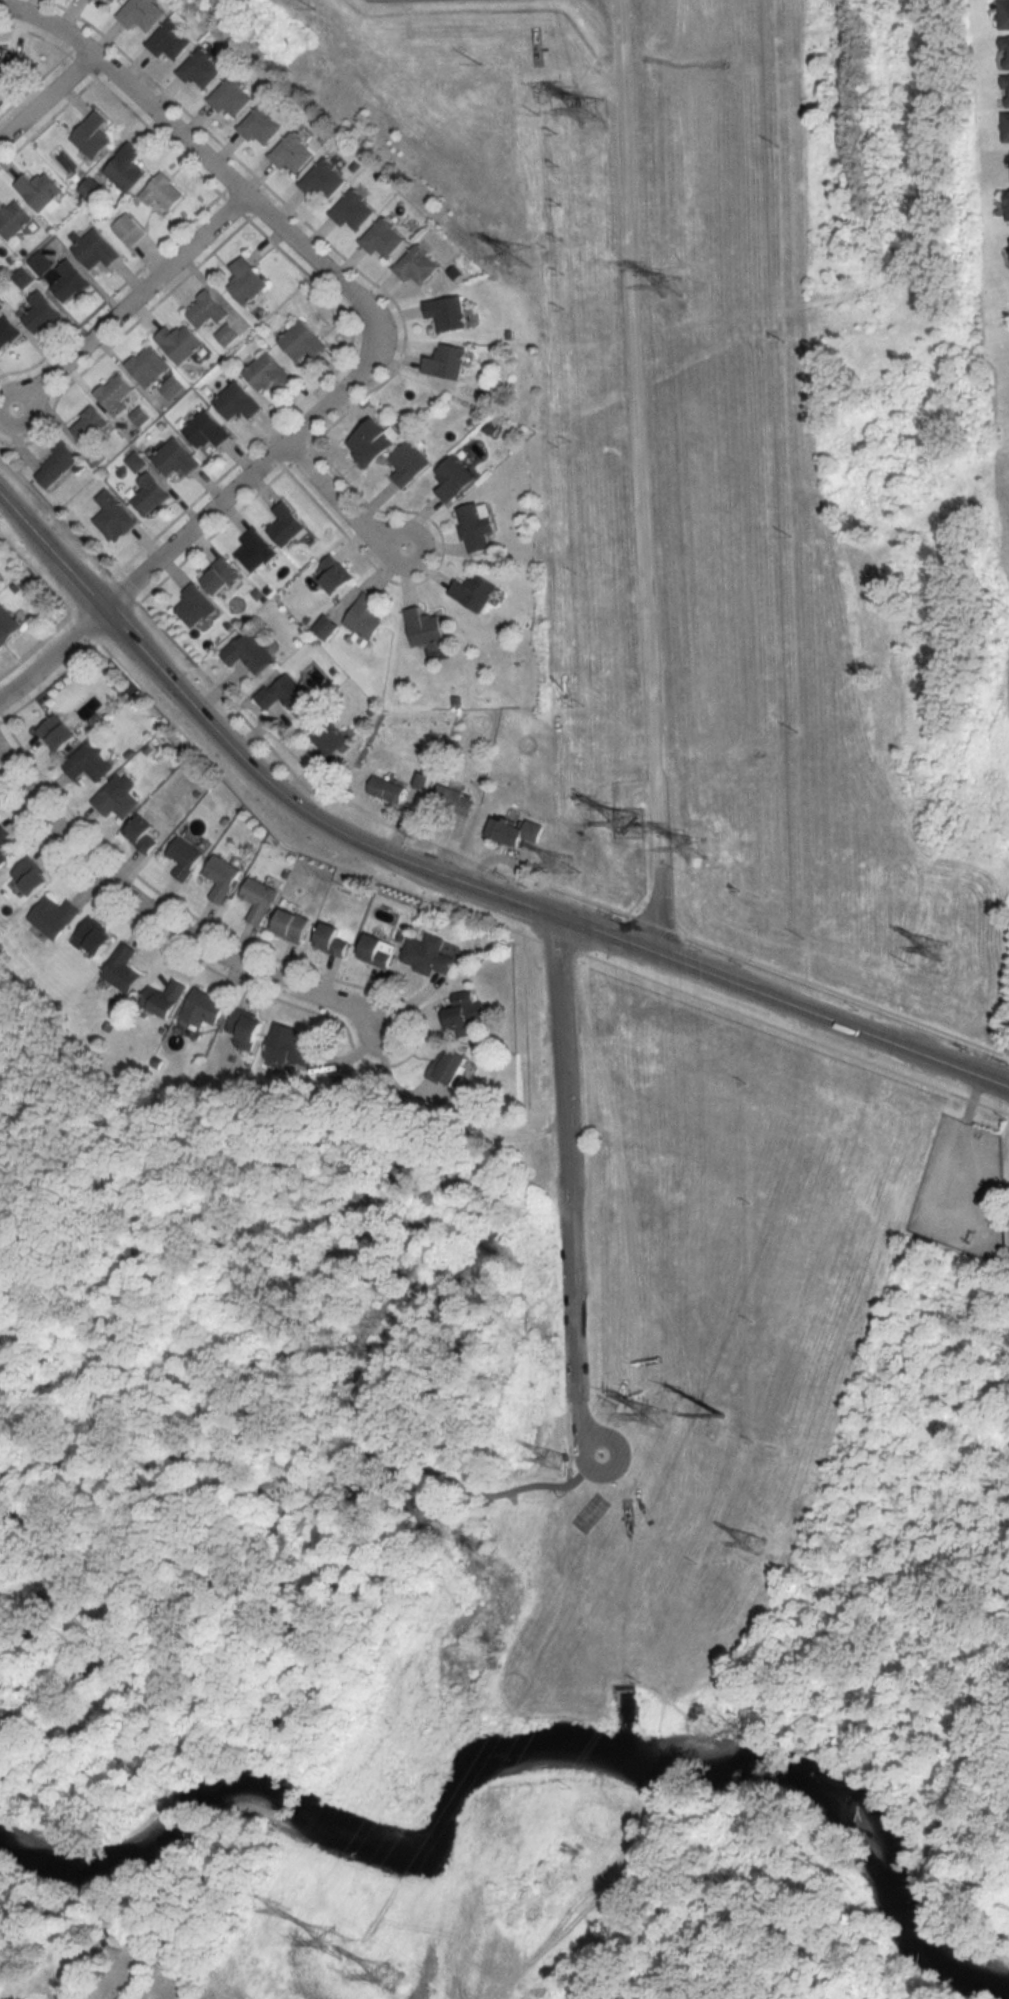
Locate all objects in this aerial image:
building: (111, 0)
road: (618, 1)
road: (619, 1)
building: (140, 13)
building: (1004, 14)
building: (169, 38)
building: (1005, 52)
building: (8, 60)
power tower: (479, 62)
building: (200, 69)
building: (1006, 90)
building: (230, 97)
road: (45, 98)
power tower: (597, 109)
building: (260, 125)
building: (1006, 127)
building: (92, 135)
building: (291, 152)
road: (199, 156)
building: (126, 167)
building: (323, 180)
building: (91, 189)
building: (39, 190)
building: (162, 192)
building: (1007, 205)
building: (351, 210)
building: (13, 219)
building: (128, 229)
building: (382, 238)
building: (96, 249)
power tower: (521, 258)
building: (417, 265)
building: (69, 281)
building: (248, 284)
power tower: (672, 285)
road: (129, 302)
building: (206, 309)
building: (41, 312)
building: (446, 312)
building: (7, 331)
building: (302, 340)
building: (180, 342)
building: (446, 361)
building: (148, 365)
building: (267, 373)
building: (115, 393)
building: (237, 401)
building: (89, 424)
building: (206, 430)
building: (372, 442)
building: (176, 458)
building: (409, 463)
building: (56, 465)
road: (640, 476)
building: (454, 478)
road: (244, 481)
building: (150, 493)
road: (339, 505)
building: (114, 516)
building: (287, 525)
building: (476, 526)
building: (255, 550)
building: (336, 574)
building: (221, 576)
building: (475, 591)
building: (195, 605)
building: (366, 616)
building: (8, 626)
building: (327, 626)
building: (425, 627)
building: (249, 652)
road: (51, 656)
building: (286, 695)
building: (58, 734)
building: (329, 744)
building: (89, 763)
building: (387, 789)
building: (115, 799)
building: (453, 800)
power tower: (627, 823)
building: (516, 831)
building: (145, 833)
building: (3, 841)
road: (443, 845)
power tower: (704, 845)
building: (185, 857)
power tower: (562, 864)
building: (32, 876)
building: (223, 877)
road: (448, 880)
building: (259, 899)
road: (449, 902)
building: (54, 916)
road: (167, 923)
building: (292, 925)
power tower: (804, 936)
building: (93, 937)
building: (333, 940)
power tower: (936, 949)
building: (379, 950)
building: (429, 955)
power tower: (912, 964)
building: (123, 968)
building: (165, 997)
building: (205, 1008)
building: (467, 1008)
road: (528, 1012)
building: (246, 1027)
building: (290, 1045)
building: (451, 1064)
road: (566, 1179)
road: (94, 1221)
road: (86, 1328)
power tower: (660, 1419)
power tower: (724, 1435)
road: (592, 1436)
park: (601, 1452)
power tower: (552, 1456)
park: (304, 1464)
road: (292, 1474)
road: (569, 1474)
road: (559, 1492)
road: (533, 1496)
road: (510, 1497)
power tower: (754, 1545)
river: (625, 1726)
road: (254, 1743)
river: (514, 1757)
power tower: (283, 1913)
power tower: (338, 1943)
power tower: (390, 1977)

